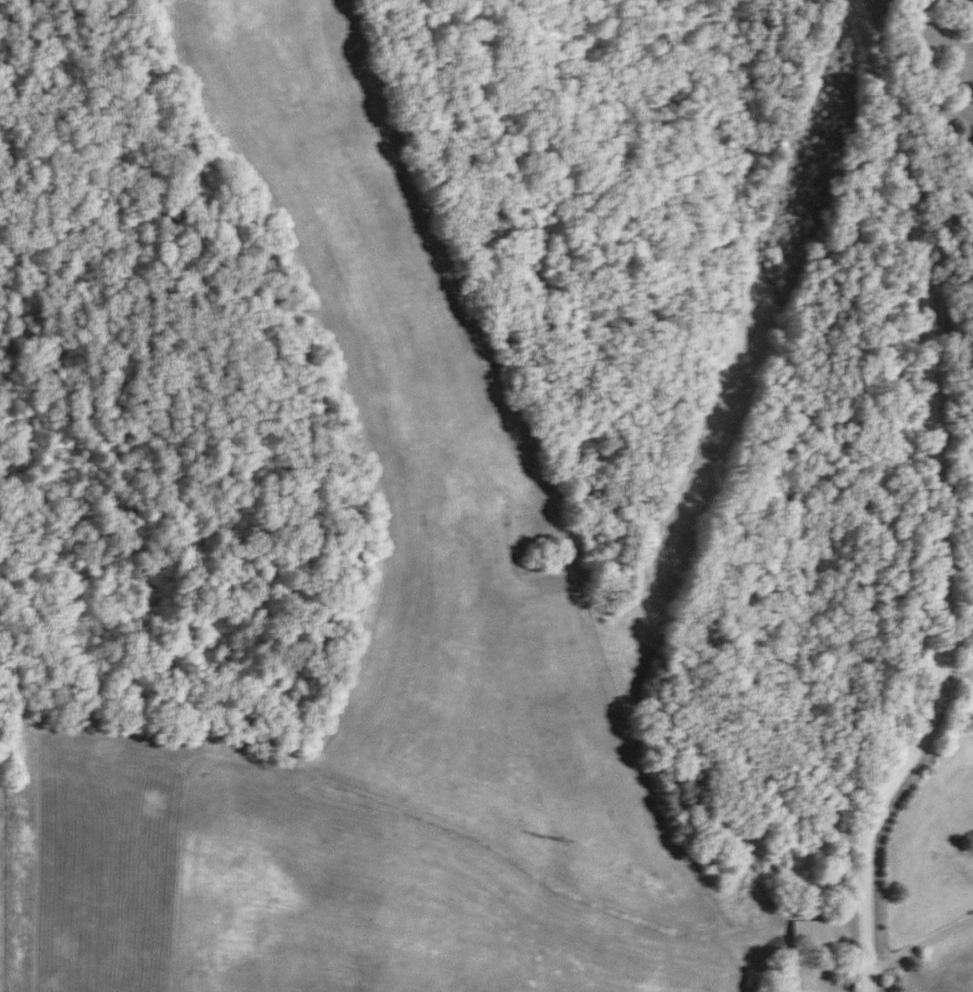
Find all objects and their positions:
power tower: (705, 442)
road: (938, 500)
power tower: (560, 841)
building: (807, 932)
road: (916, 944)

